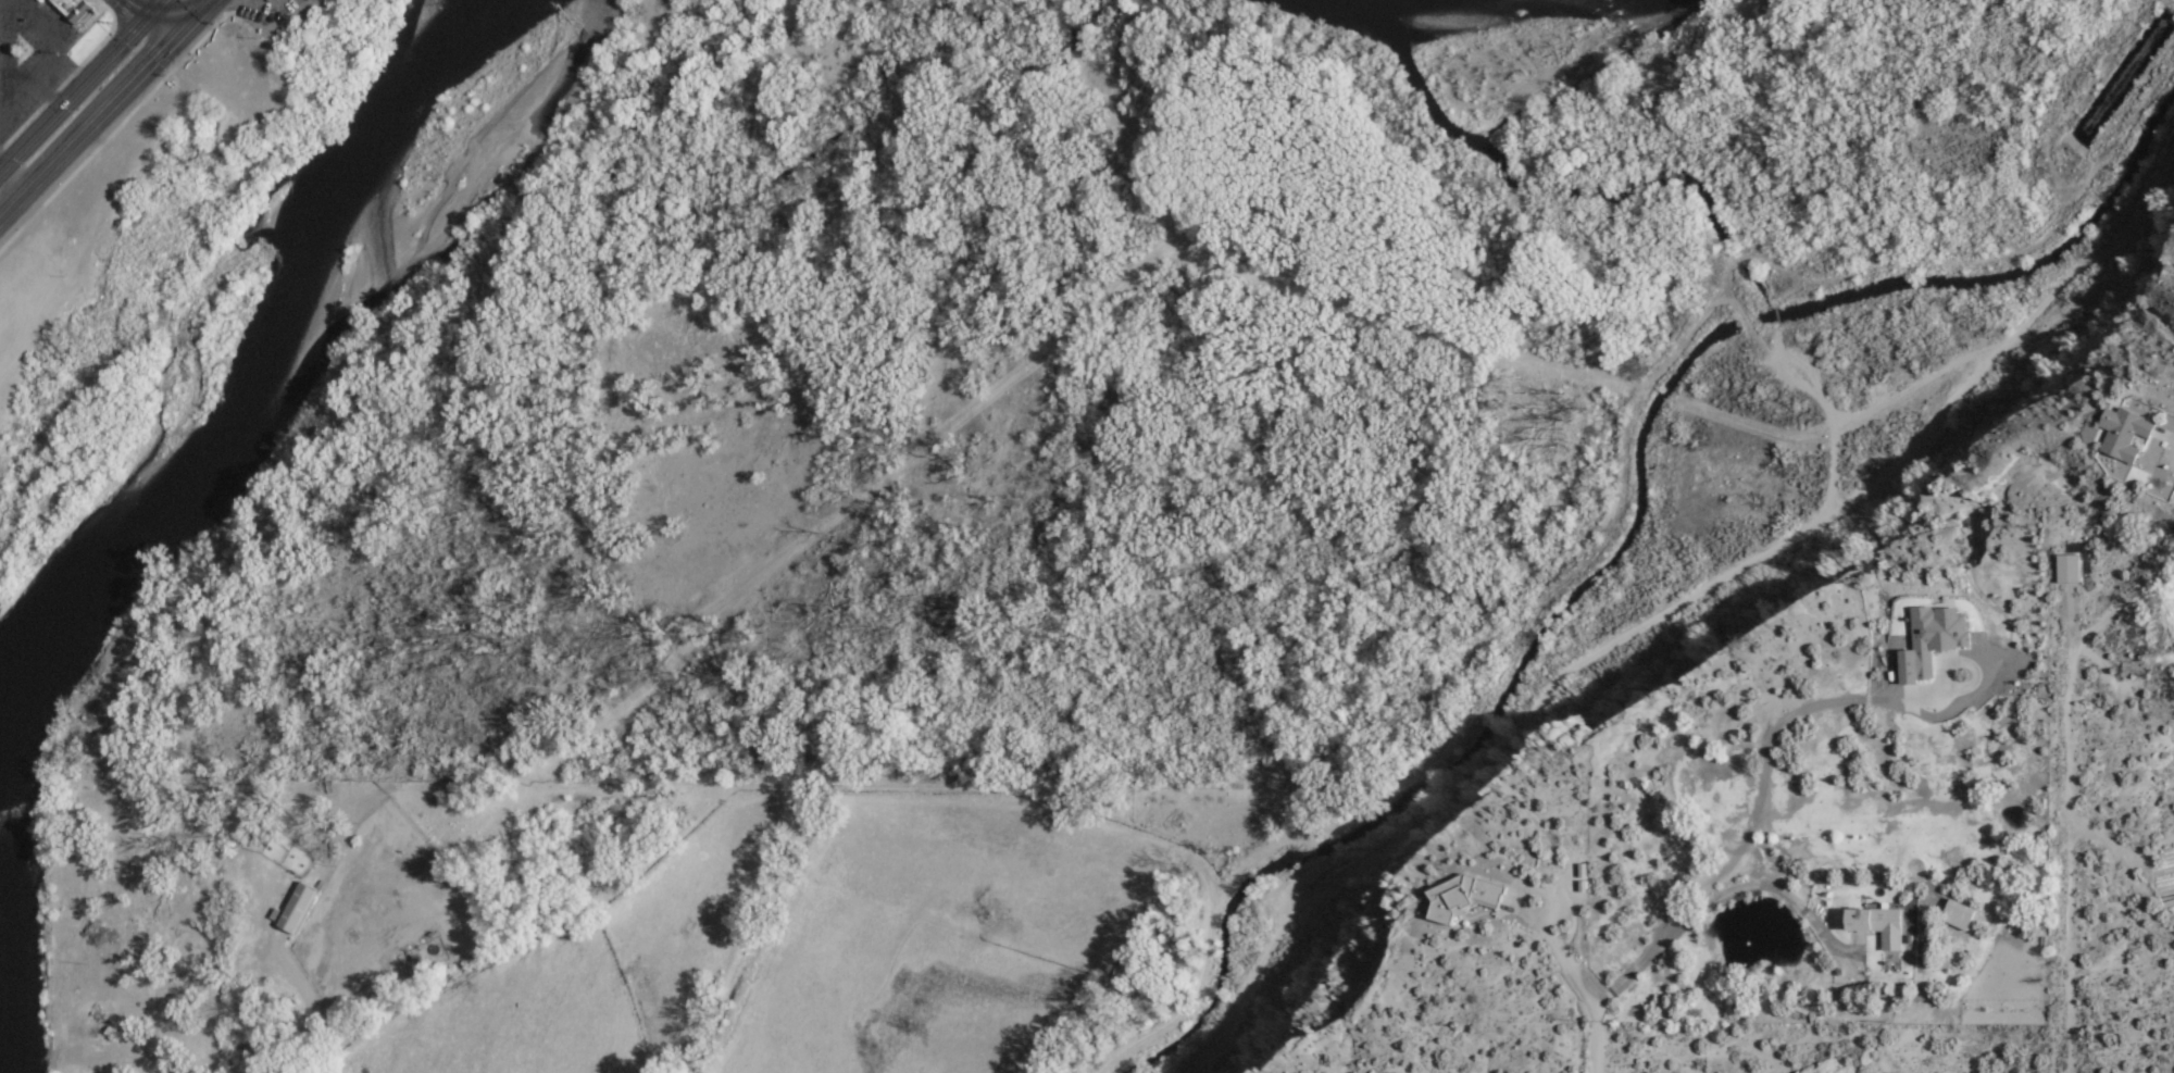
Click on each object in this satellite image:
building: (74, 10)
road: (163, 15)
road: (77, 80)
road: (104, 108)
road: (1846, 278)
road: (1577, 372)
road: (1914, 386)
building: (2125, 434)
river: (147, 516)
building: (2069, 569)
road: (1672, 607)
road: (2104, 617)
building: (1933, 641)
river: (11, 689)
road: (1787, 718)
road: (1462, 726)
road: (2069, 859)
building: (1463, 897)
road: (1721, 899)
building: (298, 909)
building: (1959, 915)
road: (1532, 920)
building: (1878, 925)
crop: (814, 947)
road: (210, 973)
road: (311, 1028)
road: (1595, 1039)
road: (28, 1055)
road: (91, 1058)

